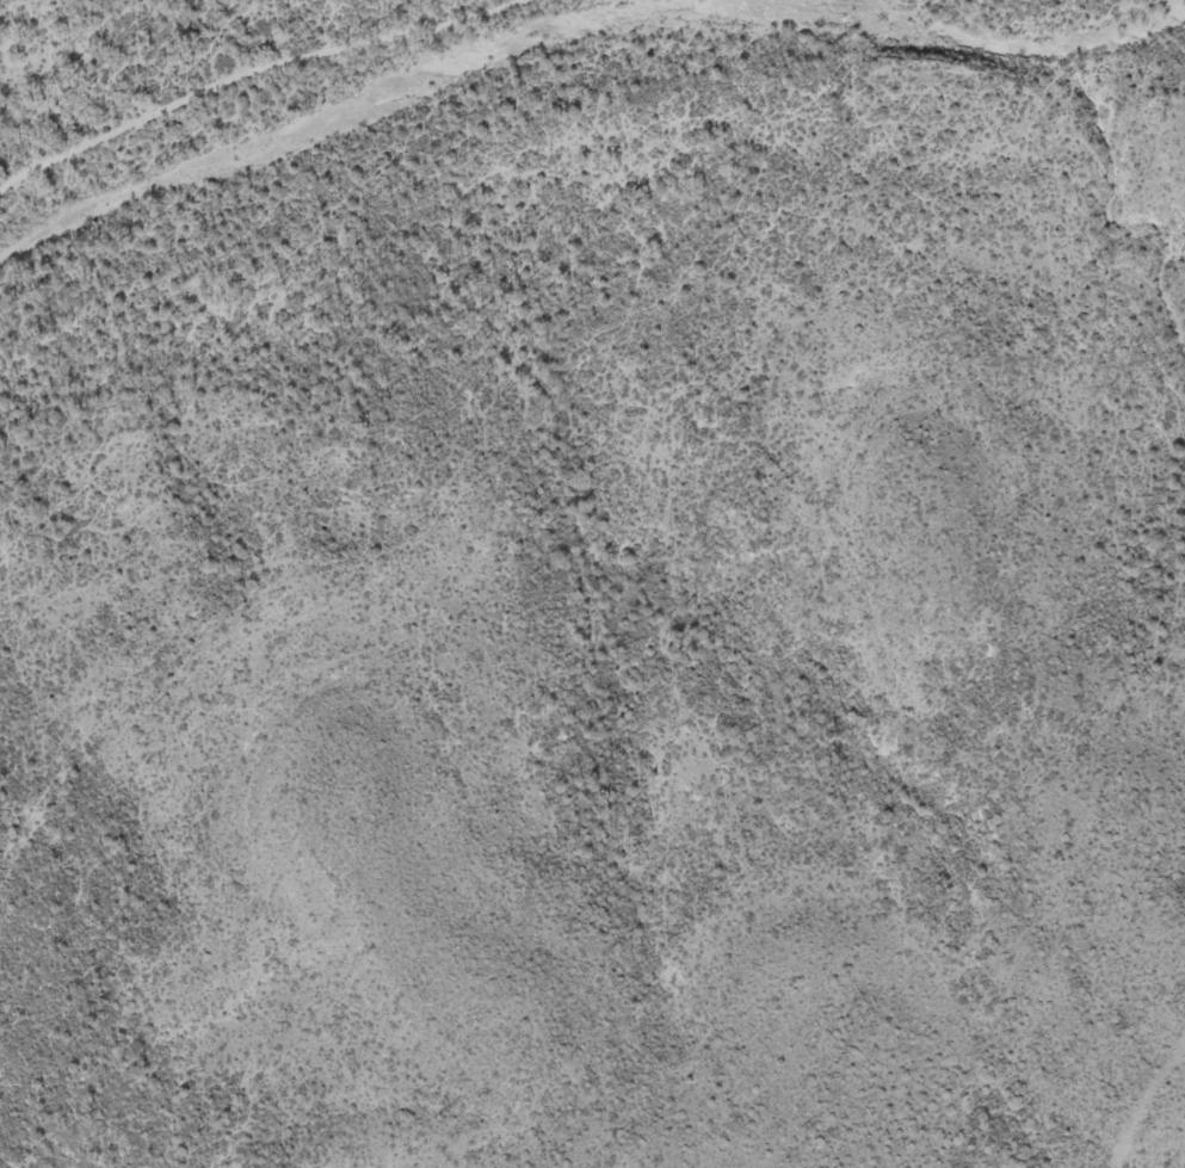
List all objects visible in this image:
road: (253, 72)

